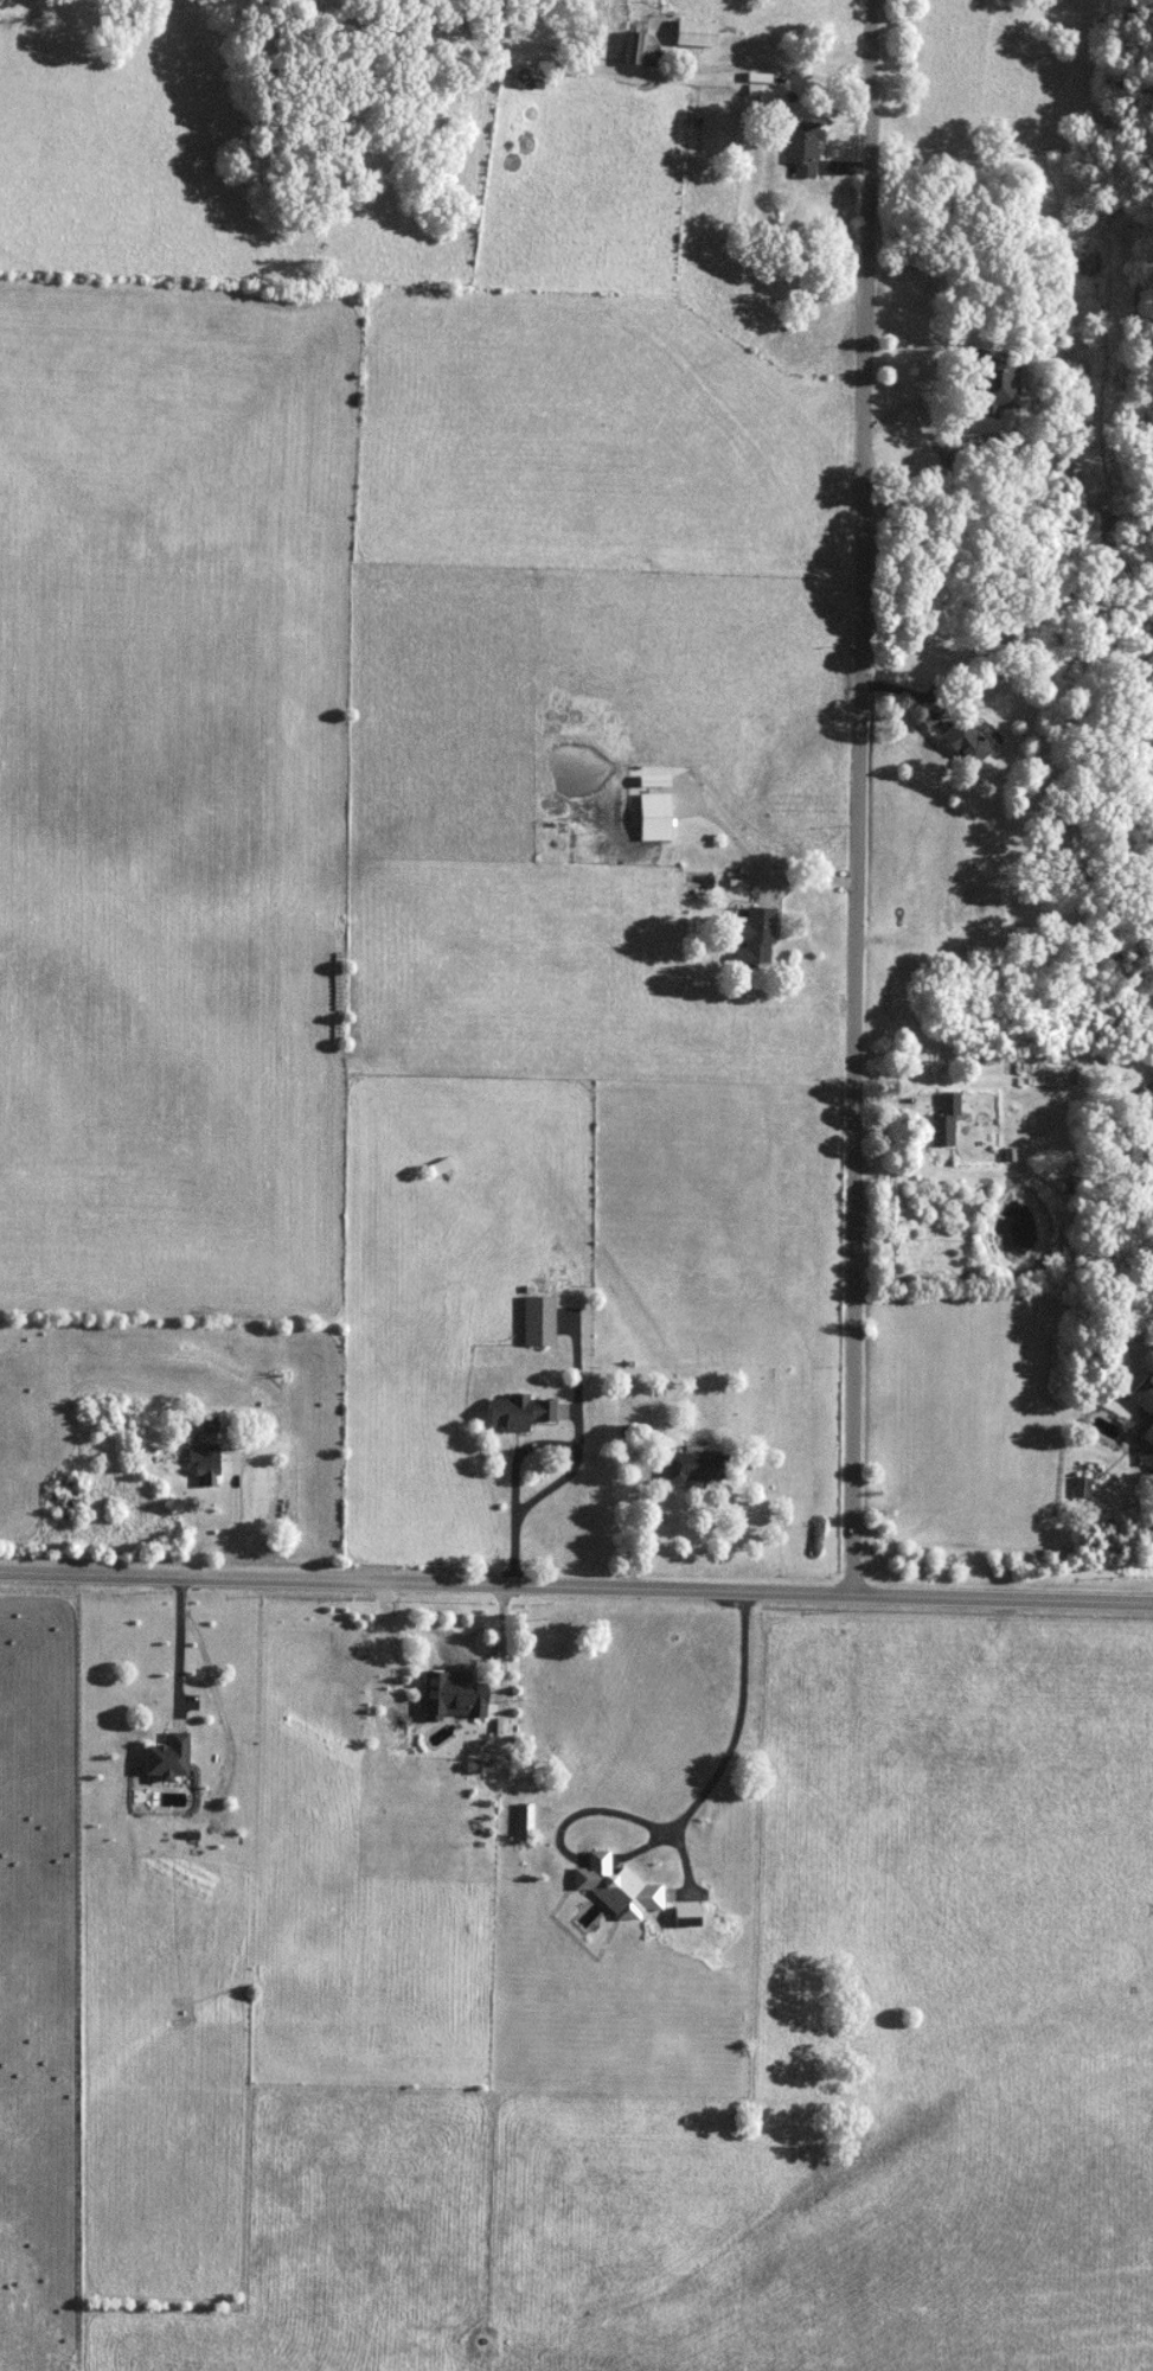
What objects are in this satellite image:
building: (493, 25)
building: (698, 32)
building: (640, 50)
building: (531, 81)
building: (766, 94)
building: (800, 147)
building: (987, 386)
building: (960, 743)
road: (854, 803)
building: (656, 817)
building: (1064, 846)
building: (758, 934)
building: (941, 1120)
building: (442, 1167)
building: (540, 1321)
building: (1144, 1410)
building: (521, 1413)
road: (518, 1447)
building: (205, 1463)
building: (698, 1468)
road: (627, 1527)
road: (230, 1529)
road: (1148, 1591)
road: (576, 1598)
road: (177, 1653)
building: (465, 1686)
road: (732, 1733)
building: (171, 1757)
building: (525, 1819)
building: (617, 1887)

